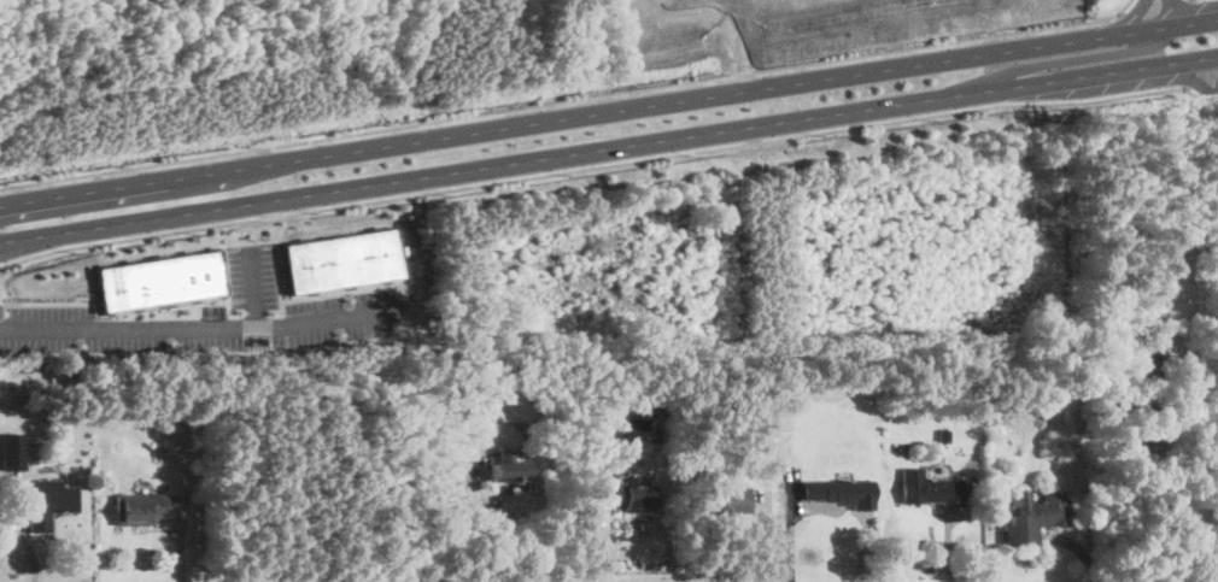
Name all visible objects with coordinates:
road: (1141, 4)
road: (1032, 71)
road: (1201, 86)
road: (567, 99)
road: (609, 110)
road: (609, 148)
road: (597, 165)
road: (204, 245)
building: (340, 259)
road: (228, 272)
building: (160, 278)
road: (256, 288)
road: (300, 298)
road: (45, 301)
road: (197, 328)
building: (12, 449)
road: (1172, 454)
building: (514, 464)
building: (929, 487)
building: (837, 490)
building: (631, 492)
building: (722, 498)
building: (49, 500)
building: (140, 506)
building: (1033, 512)
road: (790, 525)
road: (500, 528)

